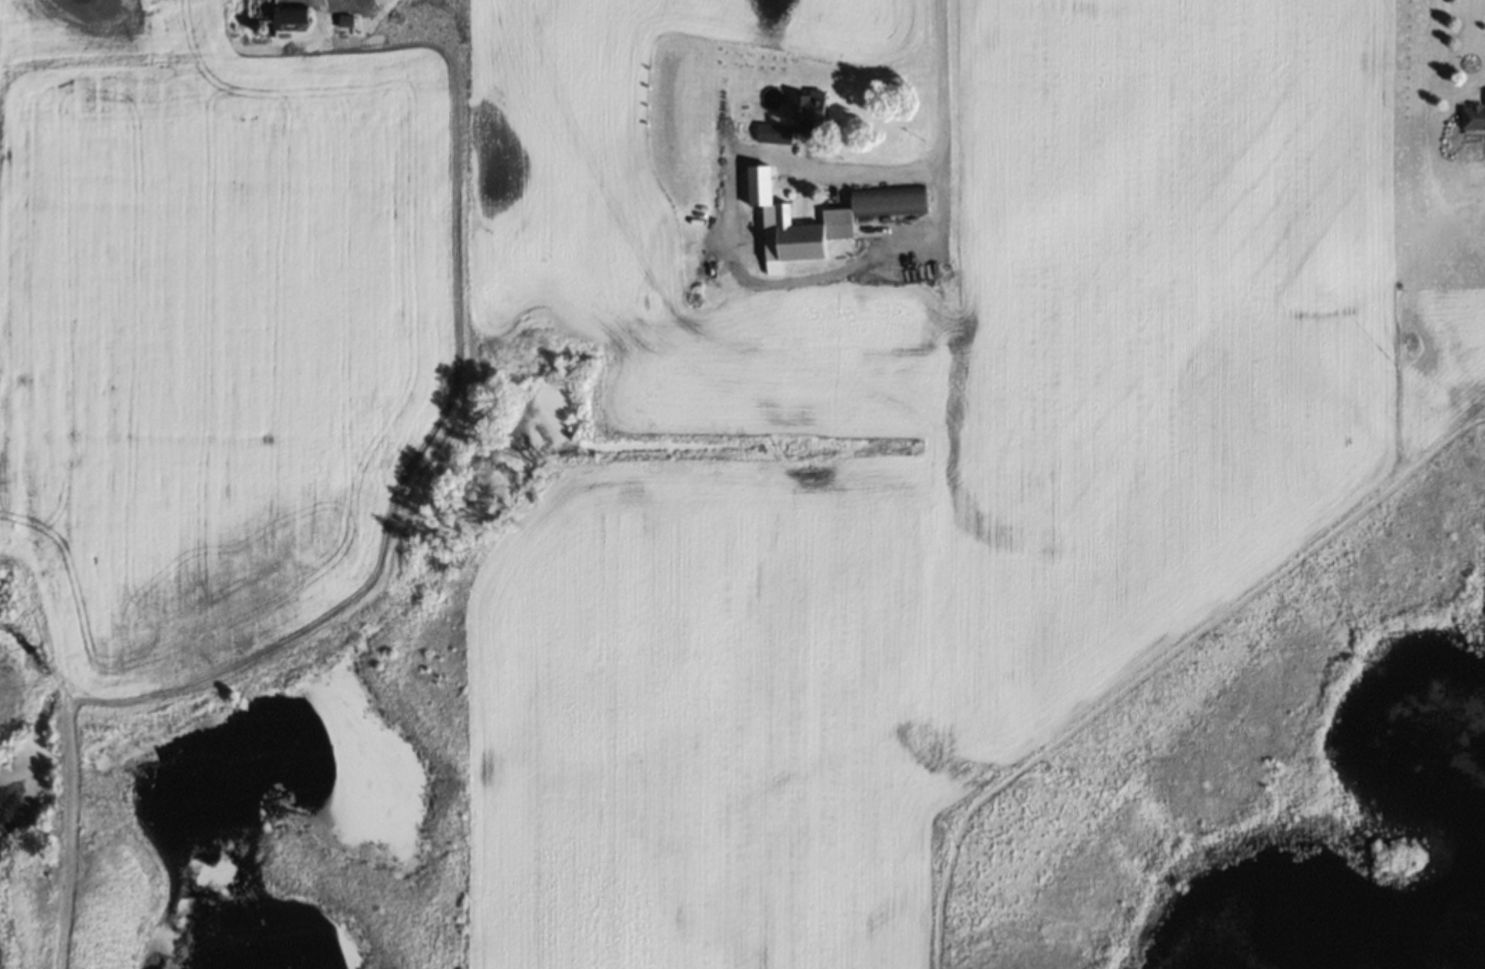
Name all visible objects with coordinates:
building: (280, 13)
building: (1484, 93)
building: (807, 105)
building: (1473, 116)
building: (779, 132)
road: (943, 135)
building: (823, 218)

